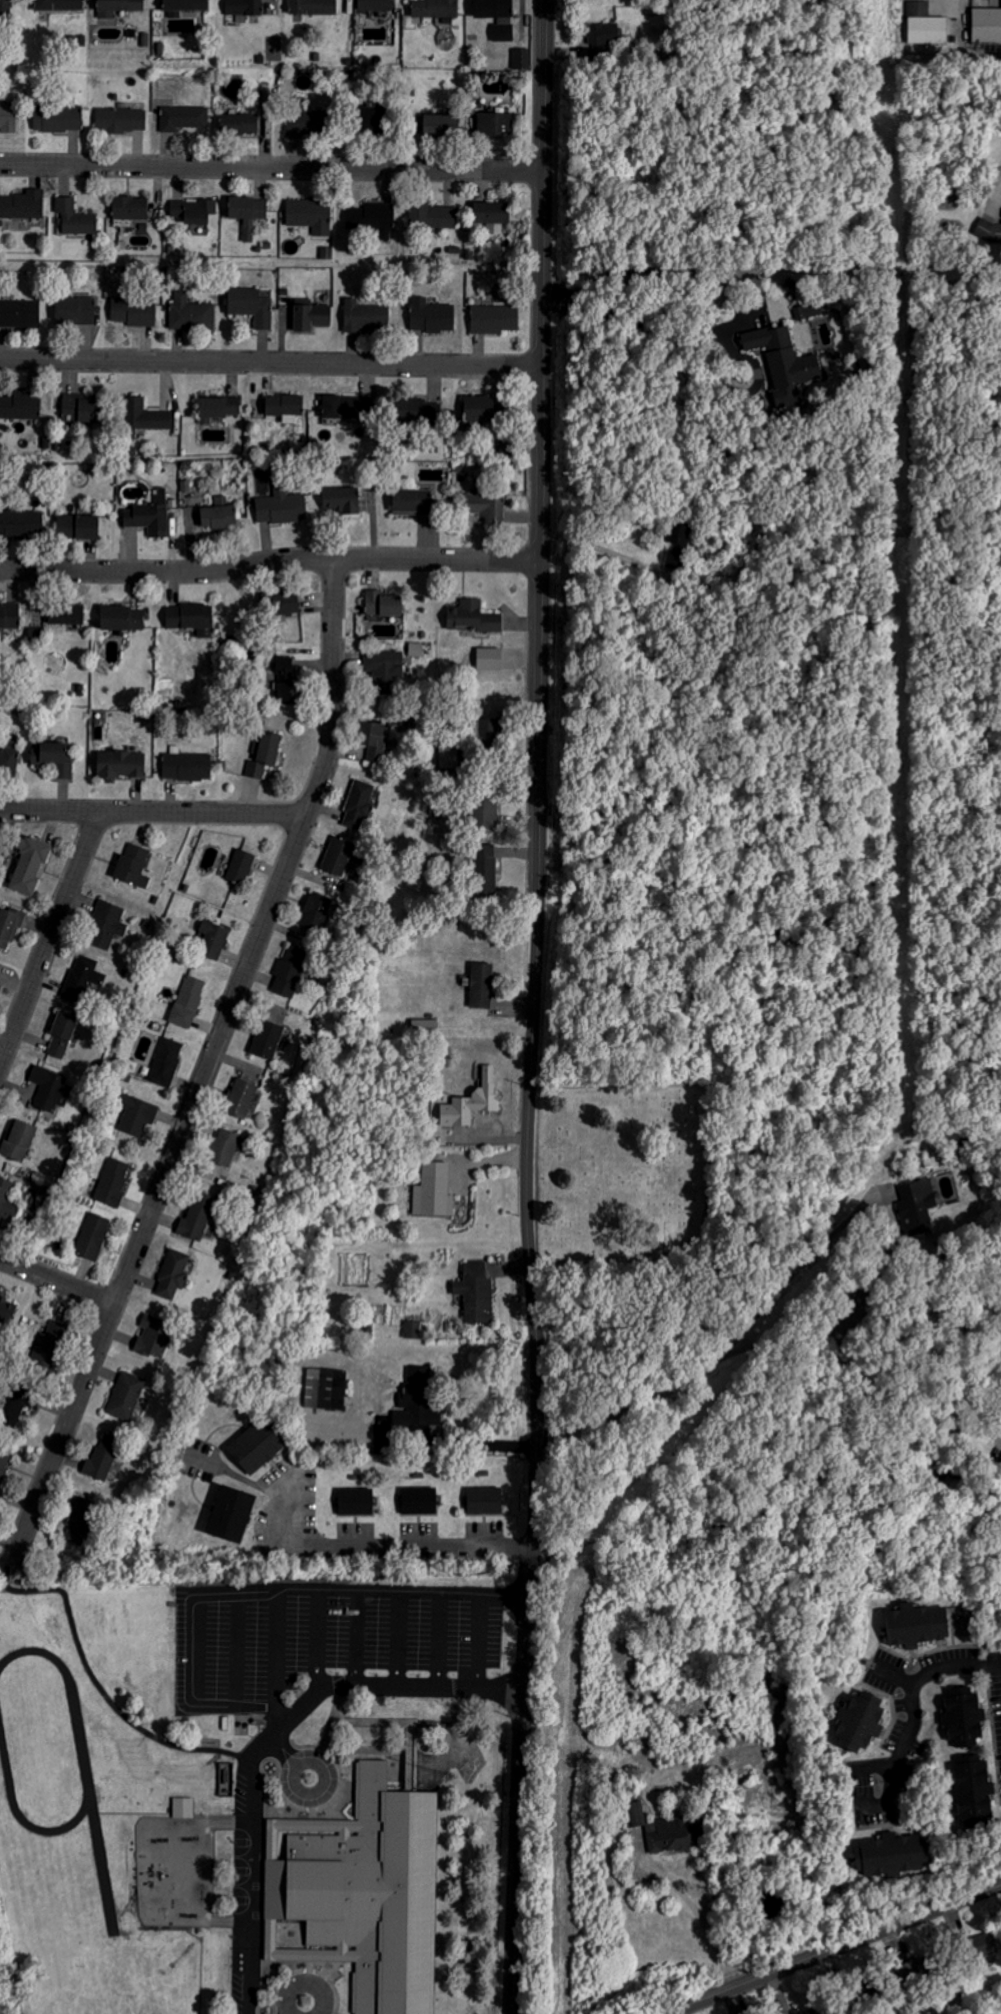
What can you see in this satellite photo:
building: (0, 3)
building: (58, 5)
building: (373, 6)
building: (117, 7)
building: (183, 7)
building: (312, 8)
building: (243, 9)
building: (435, 9)
building: (496, 17)
building: (926, 25)
building: (986, 26)
building: (602, 33)
building: (522, 59)
building: (183, 117)
building: (57, 118)
building: (121, 119)
building: (301, 122)
building: (239, 123)
building: (494, 124)
road: (269, 166)
road: (999, 202)
building: (23, 204)
building: (129, 208)
building: (193, 210)
building: (247, 212)
building: (489, 212)
building: (310, 215)
building: (431, 215)
building: (74, 217)
building: (379, 217)
building: (996, 233)
building: (250, 306)
building: (77, 310)
building: (808, 310)
building: (134, 312)
building: (19, 313)
building: (192, 314)
building: (365, 315)
building: (311, 316)
building: (430, 316)
building: (493, 318)
road: (651, 332)
road: (269, 359)
building: (783, 361)
building: (283, 405)
building: (21, 406)
building: (344, 406)
building: (218, 407)
building: (476, 408)
building: (80, 409)
building: (413, 414)
building: (143, 417)
building: (340, 500)
building: (409, 502)
building: (483, 502)
building: (280, 506)
building: (217, 514)
building: (150, 515)
building: (21, 524)
building: (76, 526)
building: (678, 536)
road: (607, 559)
road: (269, 564)
building: (282, 603)
building: (381, 604)
building: (65, 613)
building: (9, 616)
building: (473, 617)
building: (121, 618)
building: (190, 619)
building: (489, 658)
building: (383, 663)
building: (285, 680)
building: (485, 731)
building: (374, 739)
building: (264, 755)
building: (447, 757)
building: (54, 759)
building: (8, 761)
building: (120, 764)
building: (187, 766)
building: (359, 805)
building: (483, 811)
road: (154, 812)
building: (336, 856)
building: (29, 864)
building: (132, 866)
building: (240, 867)
building: (485, 868)
building: (316, 910)
building: (105, 925)
building: (9, 927)
road: (51, 940)
building: (212, 940)
building: (288, 971)
building: (83, 978)
building: (481, 985)
building: (188, 1001)
road: (534, 1007)
building: (425, 1026)
building: (61, 1035)
building: (266, 1040)
building: (166, 1061)
road: (208, 1066)
building: (50, 1089)
building: (239, 1098)
building: (472, 1102)
building: (137, 1115)
building: (18, 1140)
building: (223, 1148)
park: (618, 1174)
building: (113, 1182)
building: (434, 1191)
building: (5, 1199)
building: (917, 1204)
building: (196, 1217)
building: (93, 1236)
building: (172, 1274)
road: (58, 1277)
building: (476, 1293)
building: (6, 1310)
building: (417, 1330)
building: (153, 1336)
building: (44, 1346)
road: (735, 1353)
building: (326, 1389)
building: (126, 1396)
building: (416, 1401)
building: (12, 1408)
road: (848, 1429)
road: (440, 1441)
building: (257, 1446)
building: (104, 1457)
building: (4, 1459)
building: (419, 1501)
building: (484, 1501)
building: (354, 1502)
building: (229, 1515)
building: (79, 1520)
road: (383, 1543)
road: (8, 1572)
road: (333, 1595)
building: (914, 1626)
road: (360, 1641)
road: (322, 1643)
road: (402, 1643)
road: (443, 1644)
road: (484, 1645)
road: (243, 1649)
road: (197, 1650)
road: (897, 1678)
road: (391, 1687)
parking lot: (325, 1689)
road: (104, 1691)
road: (913, 1712)
building: (962, 1715)
building: (856, 1721)
road: (285, 1748)
road: (878, 1768)
building: (971, 1788)
road: (323, 1792)
building: (184, 1807)
building: (635, 1812)
building: (672, 1835)
building: (892, 1854)
road: (253, 1869)
building: (362, 1892)
road: (703, 1916)
building: (981, 1945)
road: (832, 1947)
road: (308, 1980)
parking lot: (309, 1992)

